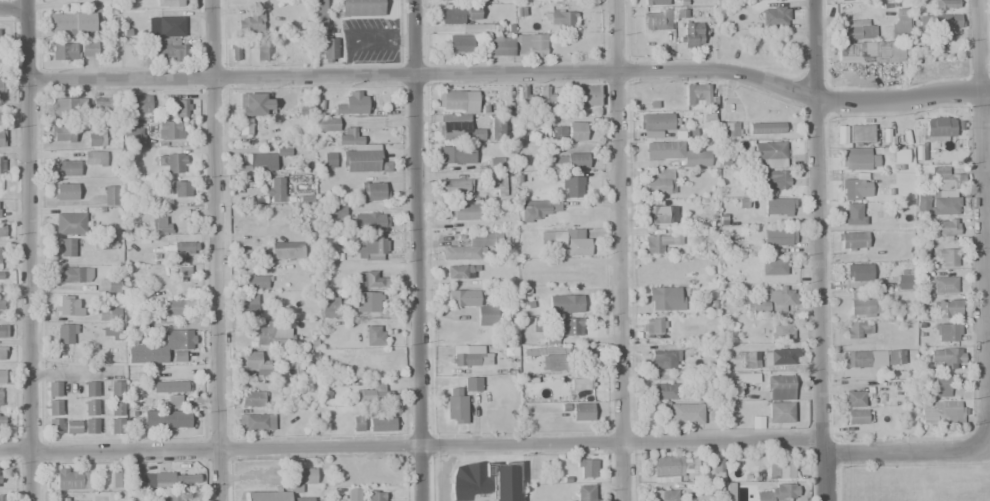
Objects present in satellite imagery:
building: (445, 0)
building: (845, 0)
building: (654, 2)
building: (171, 3)
road: (12, 5)
building: (944, 5)
building: (361, 8)
building: (319, 13)
building: (459, 15)
building: (775, 16)
building: (561, 18)
building: (70, 21)
building: (656, 21)
building: (940, 21)
building: (251, 23)
building: (170, 25)
building: (476, 28)
building: (856, 29)
building: (899, 29)
building: (691, 35)
building: (0, 37)
building: (460, 45)
building: (535, 45)
building: (500, 47)
building: (327, 48)
building: (88, 49)
building: (171, 49)
building: (63, 51)
building: (263, 51)
building: (234, 52)
building: (871, 52)
road: (424, 74)
building: (1, 88)
building: (525, 94)
building: (696, 94)
building: (546, 95)
building: (588, 96)
road: (904, 101)
building: (457, 102)
building: (353, 103)
building: (138, 104)
building: (255, 104)
building: (305, 106)
building: (68, 107)
building: (104, 107)
building: (179, 108)
building: (1, 118)
building: (657, 121)
building: (326, 124)
building: (938, 126)
building: (244, 127)
building: (494, 127)
building: (765, 127)
building: (456, 129)
building: (169, 130)
building: (733, 130)
building: (575, 131)
building: (548, 133)
building: (861, 133)
building: (61, 134)
building: (840, 135)
building: (130, 136)
building: (349, 138)
building: (2, 140)
building: (96, 140)
building: (769, 151)
building: (677, 153)
building: (900, 156)
building: (94, 158)
building: (456, 158)
building: (858, 158)
building: (330, 159)
building: (576, 160)
building: (172, 161)
building: (363, 161)
building: (252, 162)
building: (495, 164)
building: (1, 165)
building: (65, 168)
building: (943, 178)
building: (774, 180)
building: (658, 182)
building: (457, 185)
building: (573, 187)
building: (180, 188)
building: (855, 189)
building: (275, 190)
building: (65, 191)
building: (374, 191)
building: (110, 195)
building: (940, 202)
building: (778, 206)
building: (537, 208)
building: (336, 212)
building: (464, 212)
building: (859, 212)
building: (654, 214)
building: (368, 220)
building: (70, 223)
road: (982, 224)
building: (161, 225)
building: (947, 230)
building: (2, 231)
building: (776, 237)
building: (565, 241)
building: (851, 241)
building: (659, 242)
building: (106, 243)
building: (183, 246)
building: (472, 246)
building: (66, 247)
building: (370, 249)
road: (30, 250)
road: (214, 250)
building: (286, 250)
road: (418, 250)
road: (618, 250)
road: (820, 250)
building: (251, 256)
building: (946, 257)
building: (0, 265)
building: (772, 267)
building: (459, 272)
building: (858, 272)
building: (74, 274)
building: (181, 274)
building: (1, 276)
building: (369, 279)
building: (904, 279)
building: (254, 281)
building: (942, 284)
building: (107, 285)
building: (461, 298)
building: (665, 298)
building: (773, 300)
building: (1, 301)
building: (366, 301)
building: (565, 303)
building: (330, 305)
building: (66, 306)
building: (863, 306)
building: (174, 308)
building: (249, 308)
building: (946, 308)
building: (113, 314)
building: (485, 315)
building: (653, 325)
building: (561, 327)
building: (856, 329)
building: (3, 330)
building: (782, 331)
building: (946, 332)
building: (111, 333)
building: (66, 334)
building: (271, 334)
building: (374, 336)
building: (160, 347)
building: (1, 353)
building: (780, 356)
building: (947, 357)
building: (554, 358)
building: (665, 359)
building: (872, 359)
building: (750, 360)
building: (469, 361)
building: (253, 363)
building: (2, 376)
building: (740, 378)
building: (581, 382)
building: (472, 384)
building: (938, 385)
building: (168, 387)
building: (116, 388)
building: (779, 388)
building: (53, 389)
building: (91, 389)
building: (663, 391)
building: (0, 396)
building: (372, 397)
building: (250, 398)
building: (856, 398)
building: (174, 401)
building: (455, 405)
building: (54, 407)
building: (90, 407)
building: (117, 407)
building: (581, 412)
building: (779, 412)
building: (685, 413)
building: (941, 414)
building: (857, 417)
building: (166, 420)
building: (1, 422)
building: (255, 422)
building: (356, 424)
building: (381, 424)
building: (90, 425)
building: (54, 426)
building: (117, 426)
building: (72, 427)
road: (491, 441)
building: (670, 467)
building: (715, 467)
building: (585, 468)
building: (779, 468)
building: (72, 478)
building: (115, 479)
building: (298, 479)
building: (171, 480)
building: (485, 481)
building: (728, 491)
building: (584, 493)
building: (779, 493)
building: (375, 495)
building: (662, 495)
building: (272, 496)
building: (3, 497)
building: (170, 498)
building: (71, 499)

